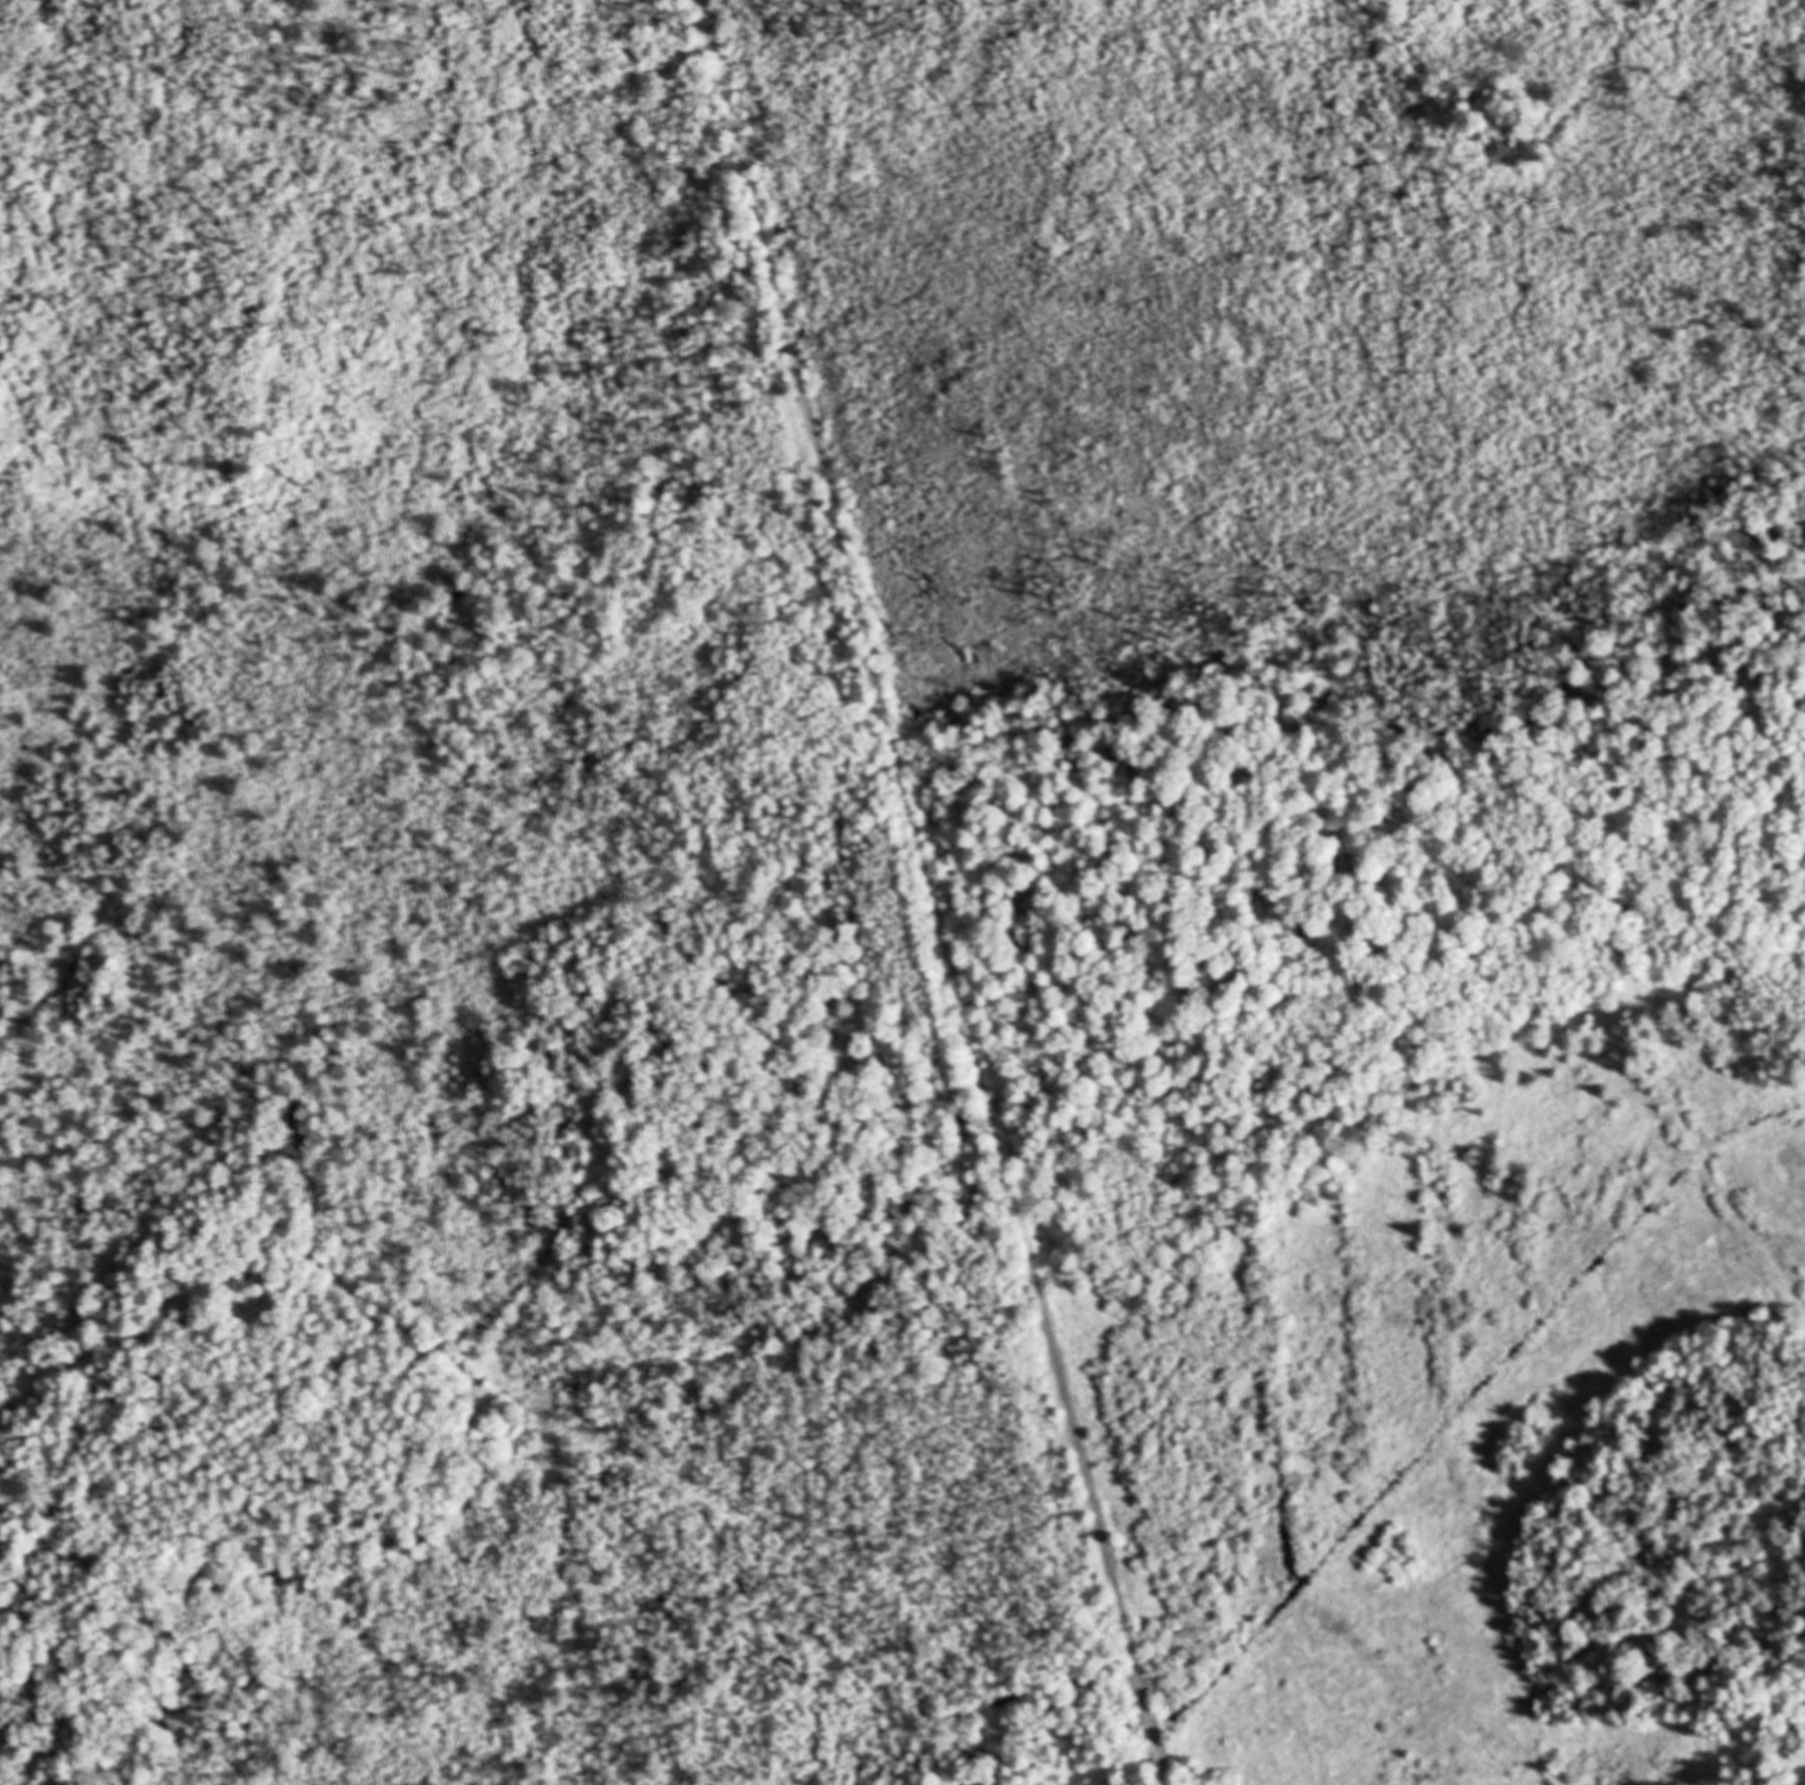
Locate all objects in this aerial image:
road: (937, 891)

